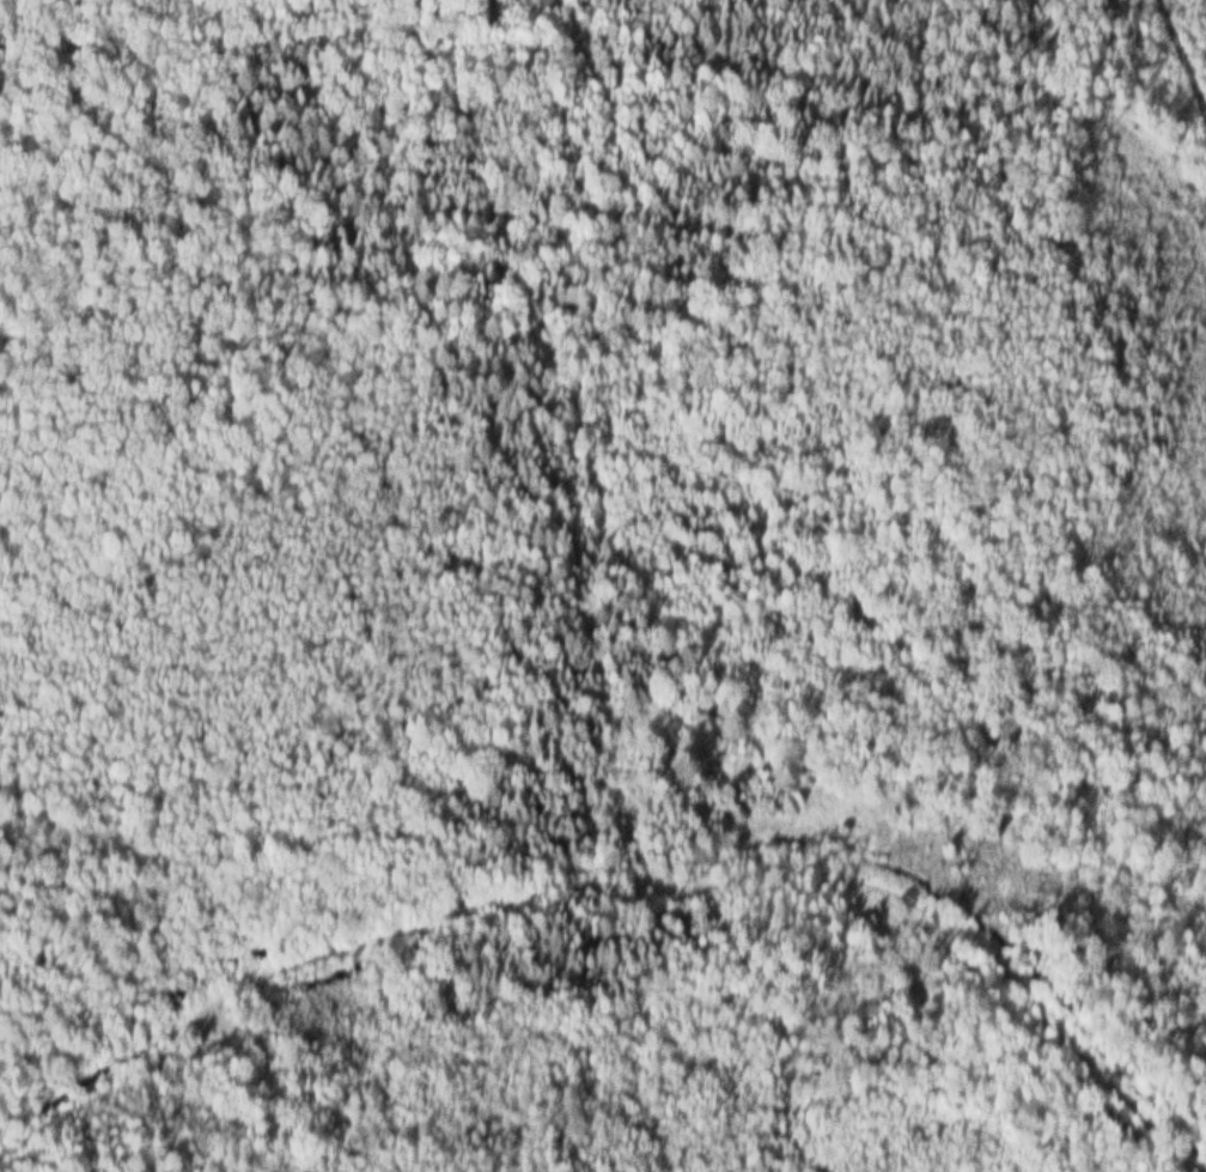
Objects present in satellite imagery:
road: (1183, 54)

